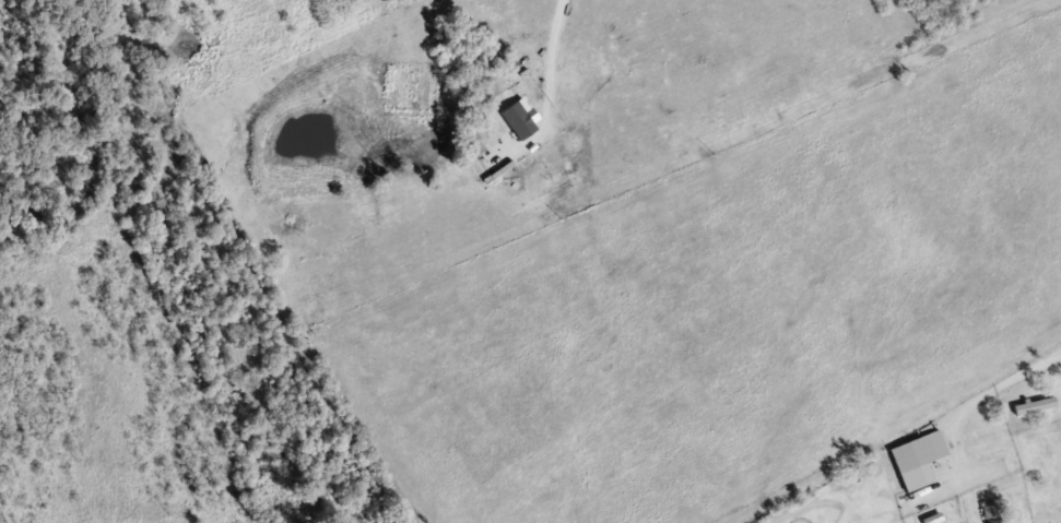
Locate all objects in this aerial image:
building: (1030, 404)

